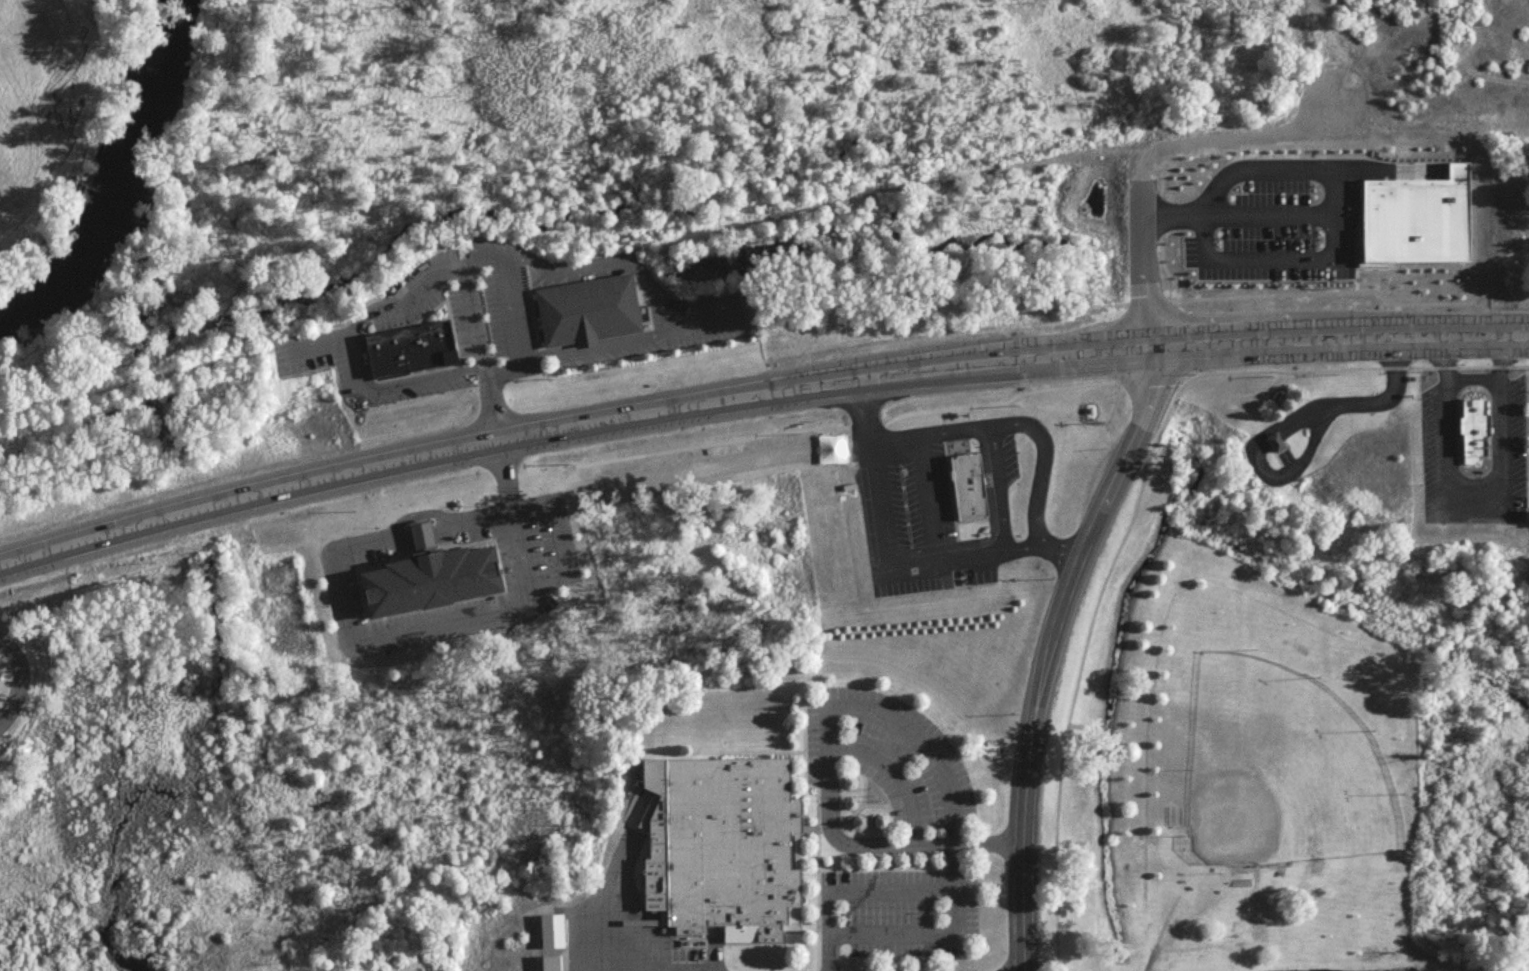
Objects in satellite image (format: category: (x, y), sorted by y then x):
road: (1289, 168)
river: (119, 188)
road: (1140, 197)
building: (1224, 212)
road: (1268, 213)
building: (1413, 220)
road: (1162, 241)
road: (477, 260)
road: (453, 263)
road: (570, 268)
road: (1355, 280)
road: (1274, 293)
building: (584, 309)
building: (408, 346)
road: (1276, 348)
road: (362, 355)
road: (1185, 376)
road: (1146, 377)
road: (395, 382)
road: (1471, 382)
flagpole: (1280, 389)
road: (997, 401)
flagpole: (1271, 406)
road: (939, 420)
road: (1012, 421)
road: (1444, 421)
road: (1498, 421)
road: (864, 424)
road: (1282, 425)
building: (1475, 432)
road: (706, 441)
road: (507, 444)
building: (1277, 449)
building: (966, 485)
road: (925, 498)
road: (1471, 501)
road: (1132, 502)
road: (325, 511)
road: (388, 525)
road: (988, 529)
road: (562, 556)
road: (895, 569)
building: (427, 576)
road: (48, 591)
road: (1352, 648)
road: (1051, 651)
road: (19, 677)
park: (1290, 757)
road: (828, 762)
park: (1284, 773)
road: (895, 778)
building: (1173, 821)
building: (723, 853)
building: (1242, 888)
road: (856, 897)
road: (606, 904)
road: (1166, 930)
building: (552, 937)
road: (938, 940)
road: (1152, 962)

